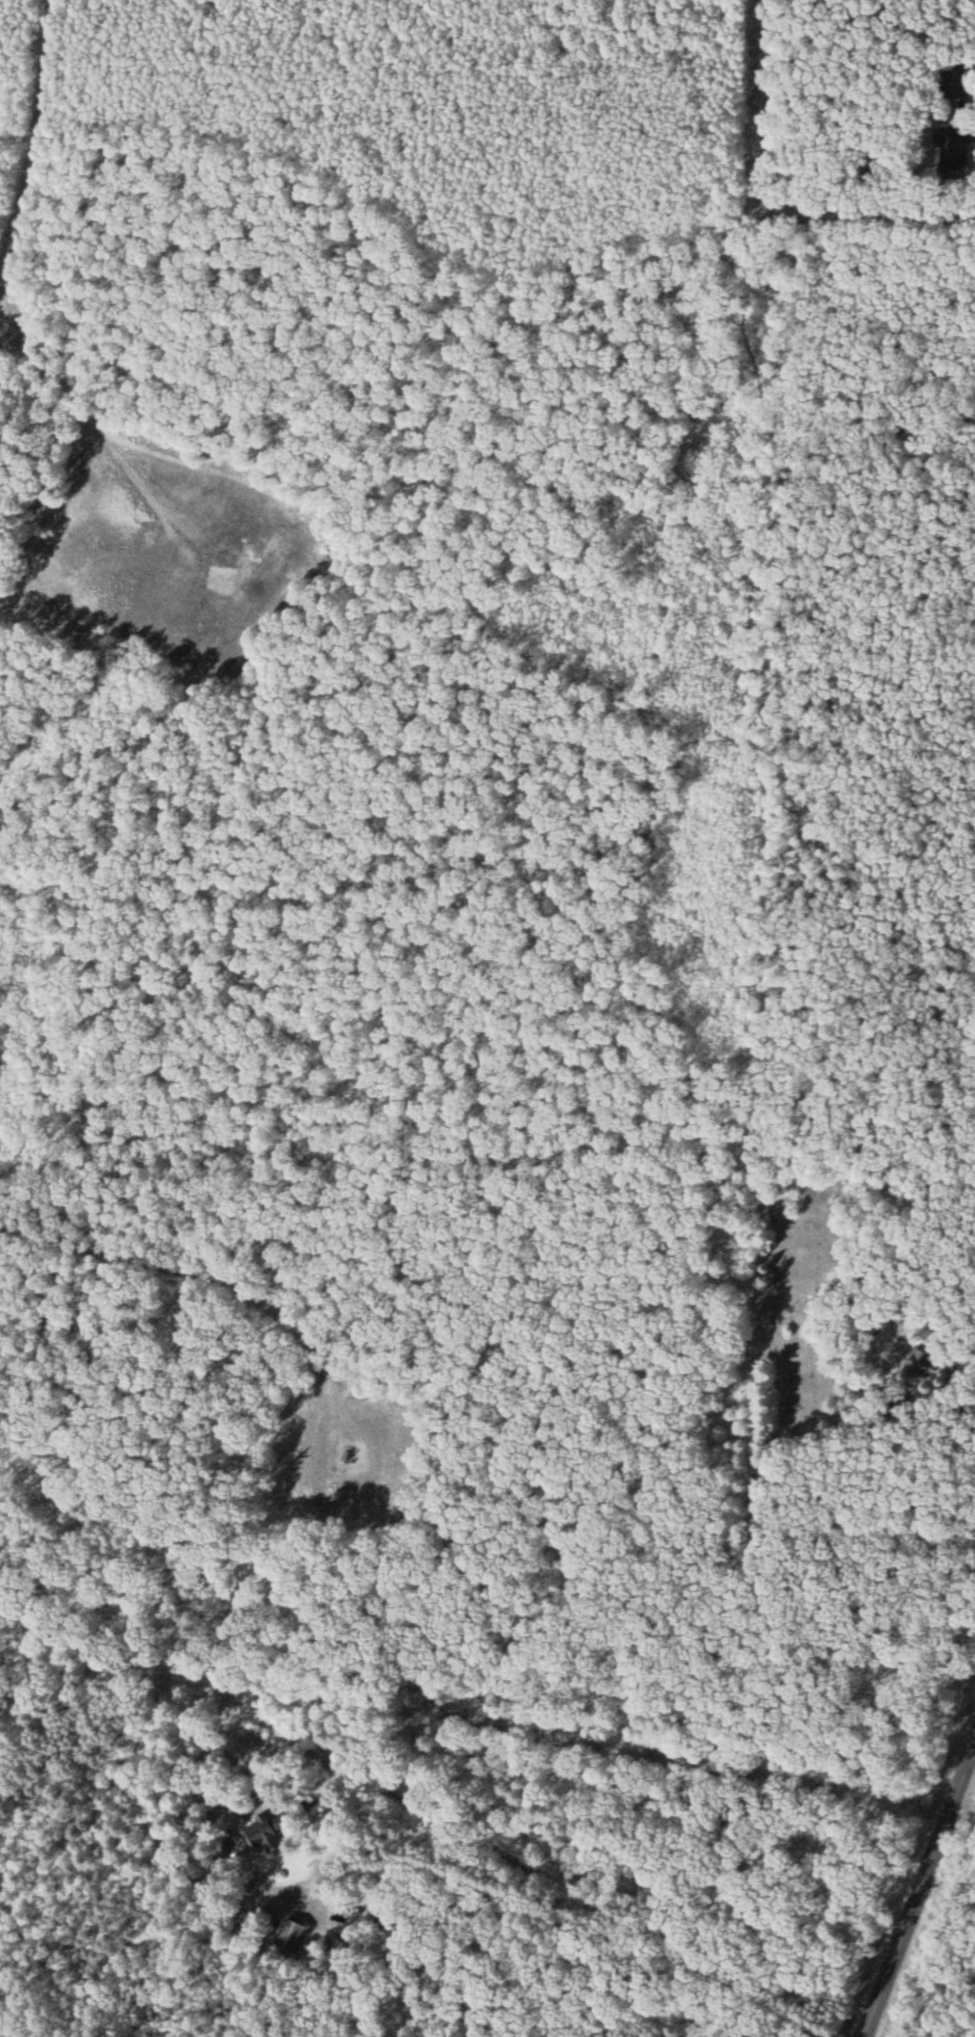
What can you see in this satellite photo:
road: (18, 128)
building: (955, 146)
road: (91, 411)
road: (186, 1279)
petroleum well: (350, 1450)
road: (973, 1762)
building: (258, 1835)
building: (230, 1849)
road: (574, 1871)
road: (921, 1894)
building: (288, 1938)

